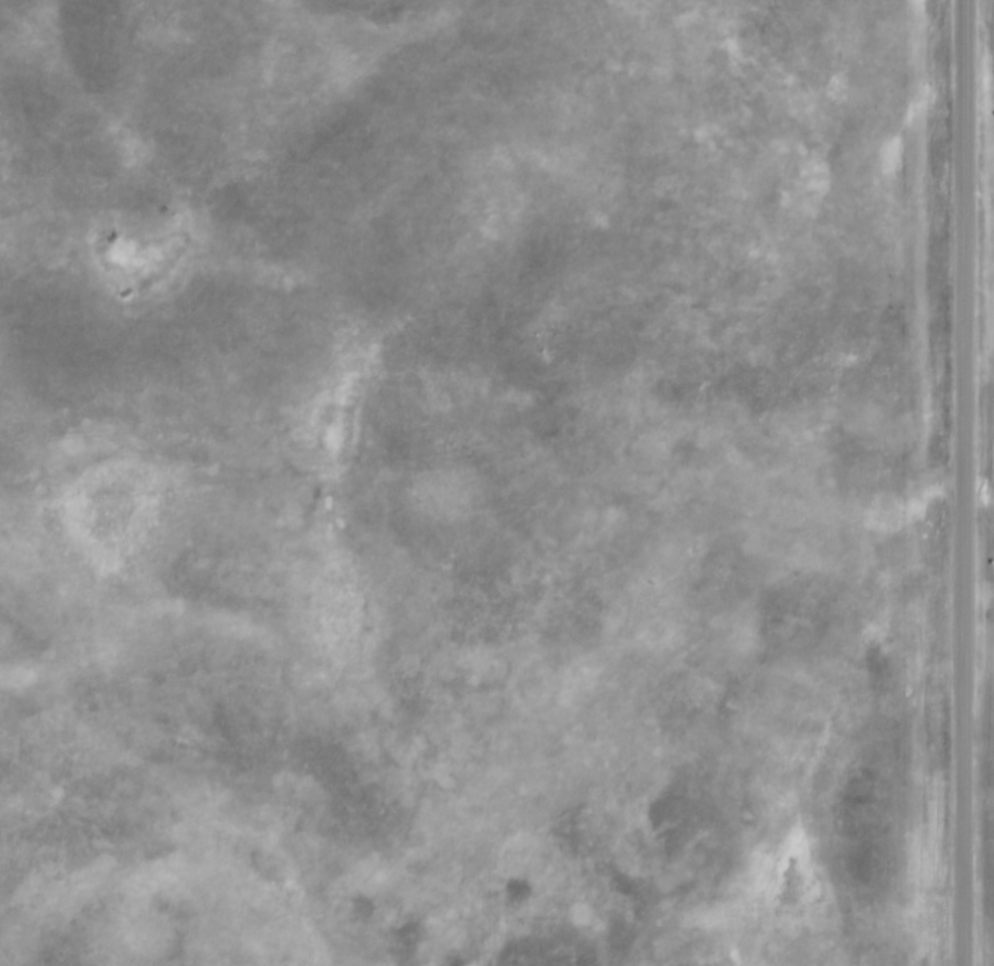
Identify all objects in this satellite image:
road: (962, 483)

